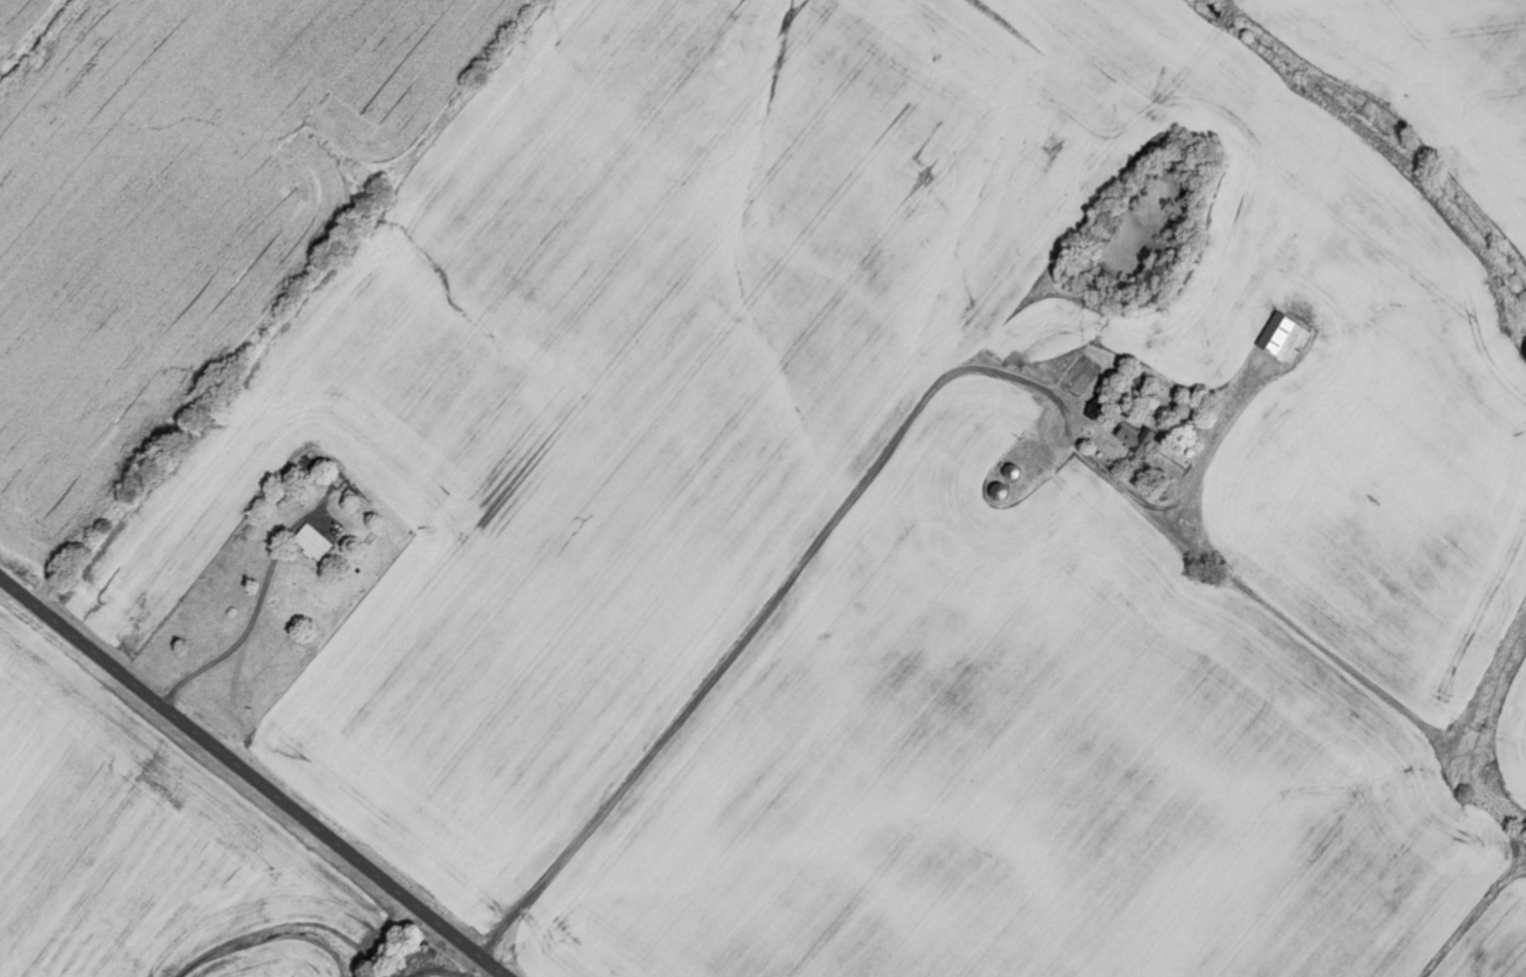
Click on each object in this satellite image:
building: (1288, 341)
road: (943, 372)
building: (1144, 444)
building: (315, 544)
road: (253, 776)

